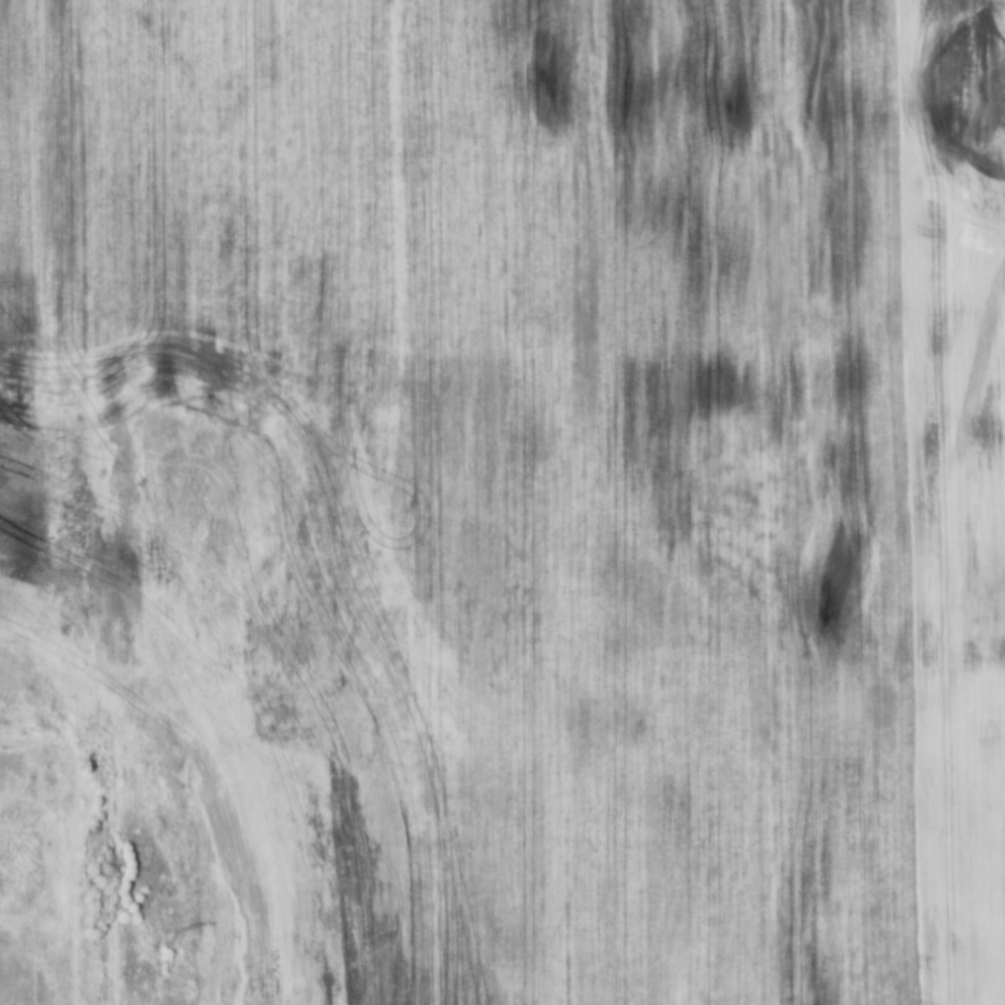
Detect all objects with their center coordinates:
power tower: (160, 405)
power tower: (165, 933)

